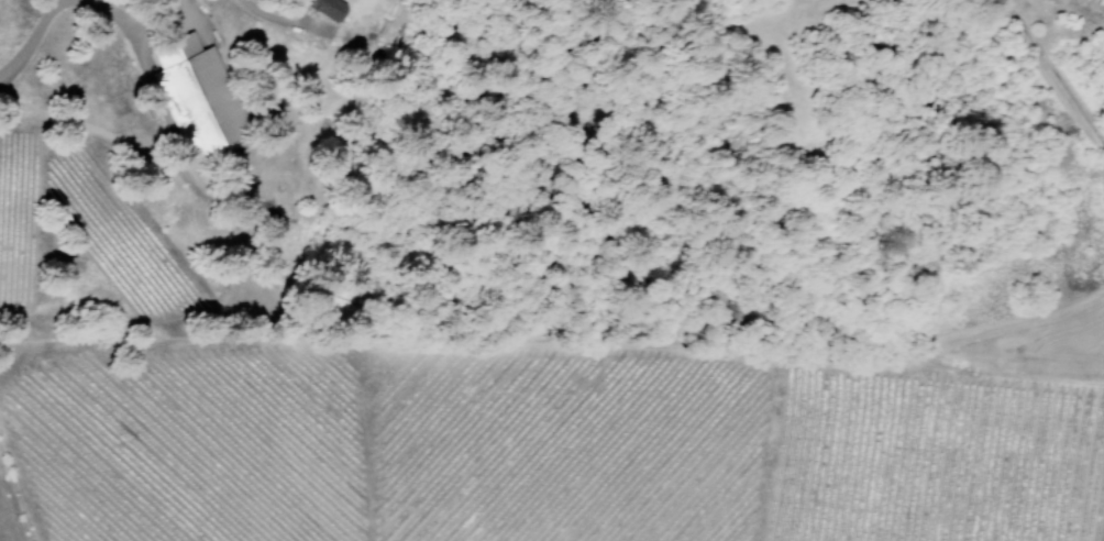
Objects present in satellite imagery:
building: (327, 9)
building: (196, 99)

